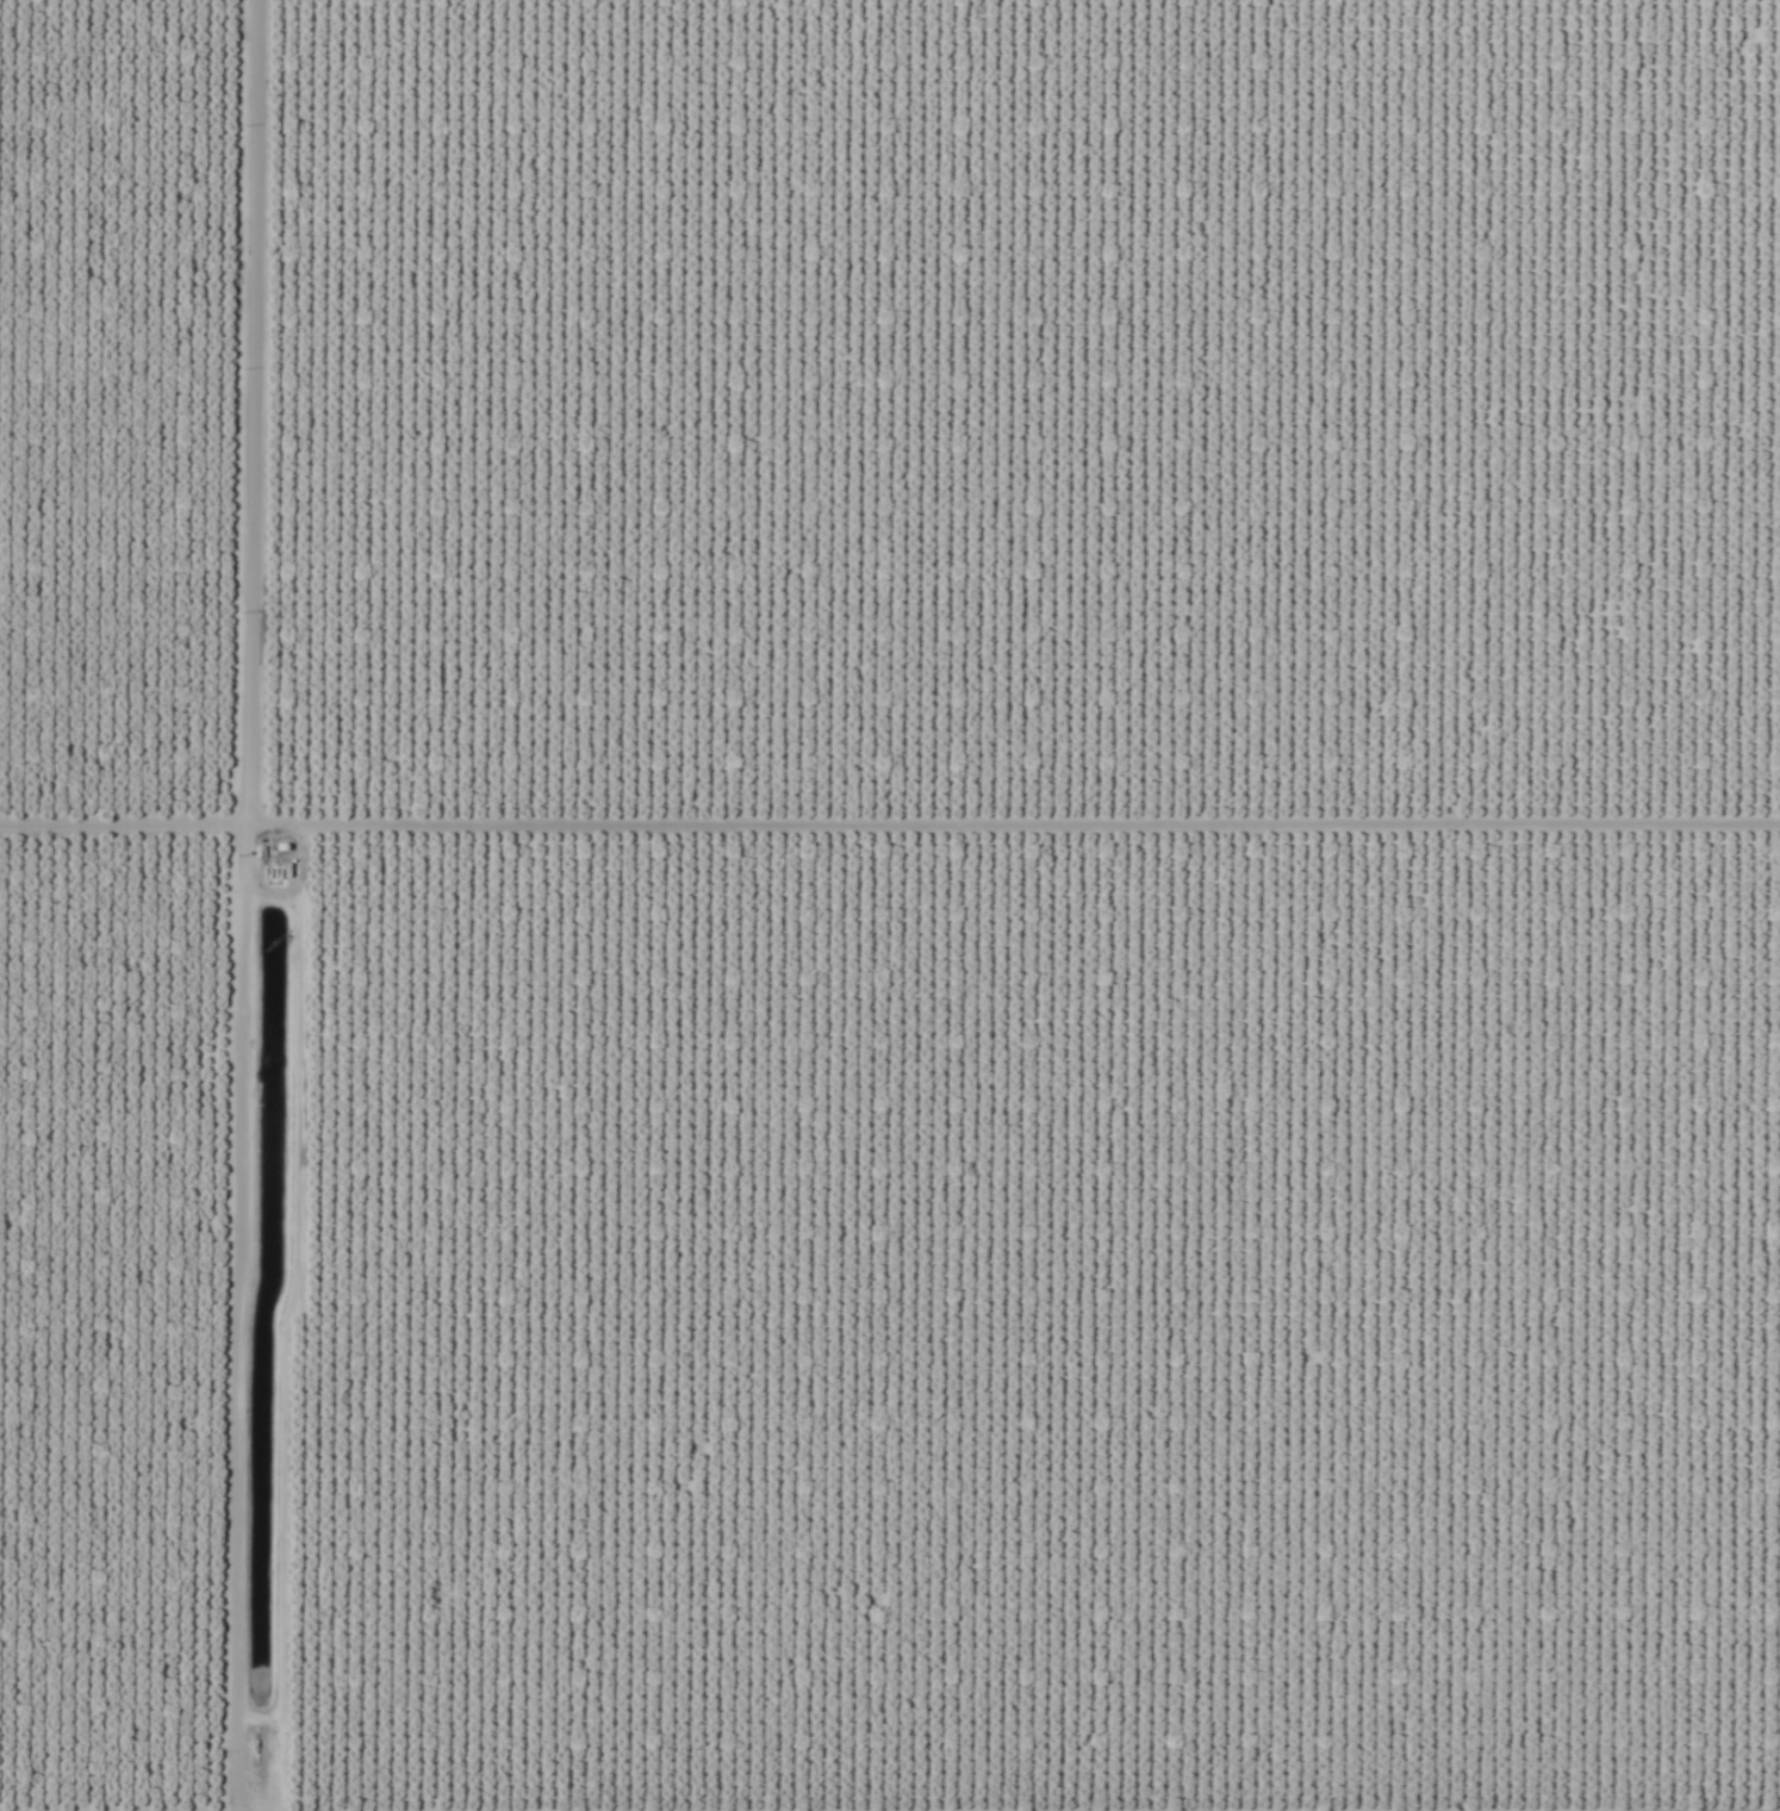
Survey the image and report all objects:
crop: (890, 905)

